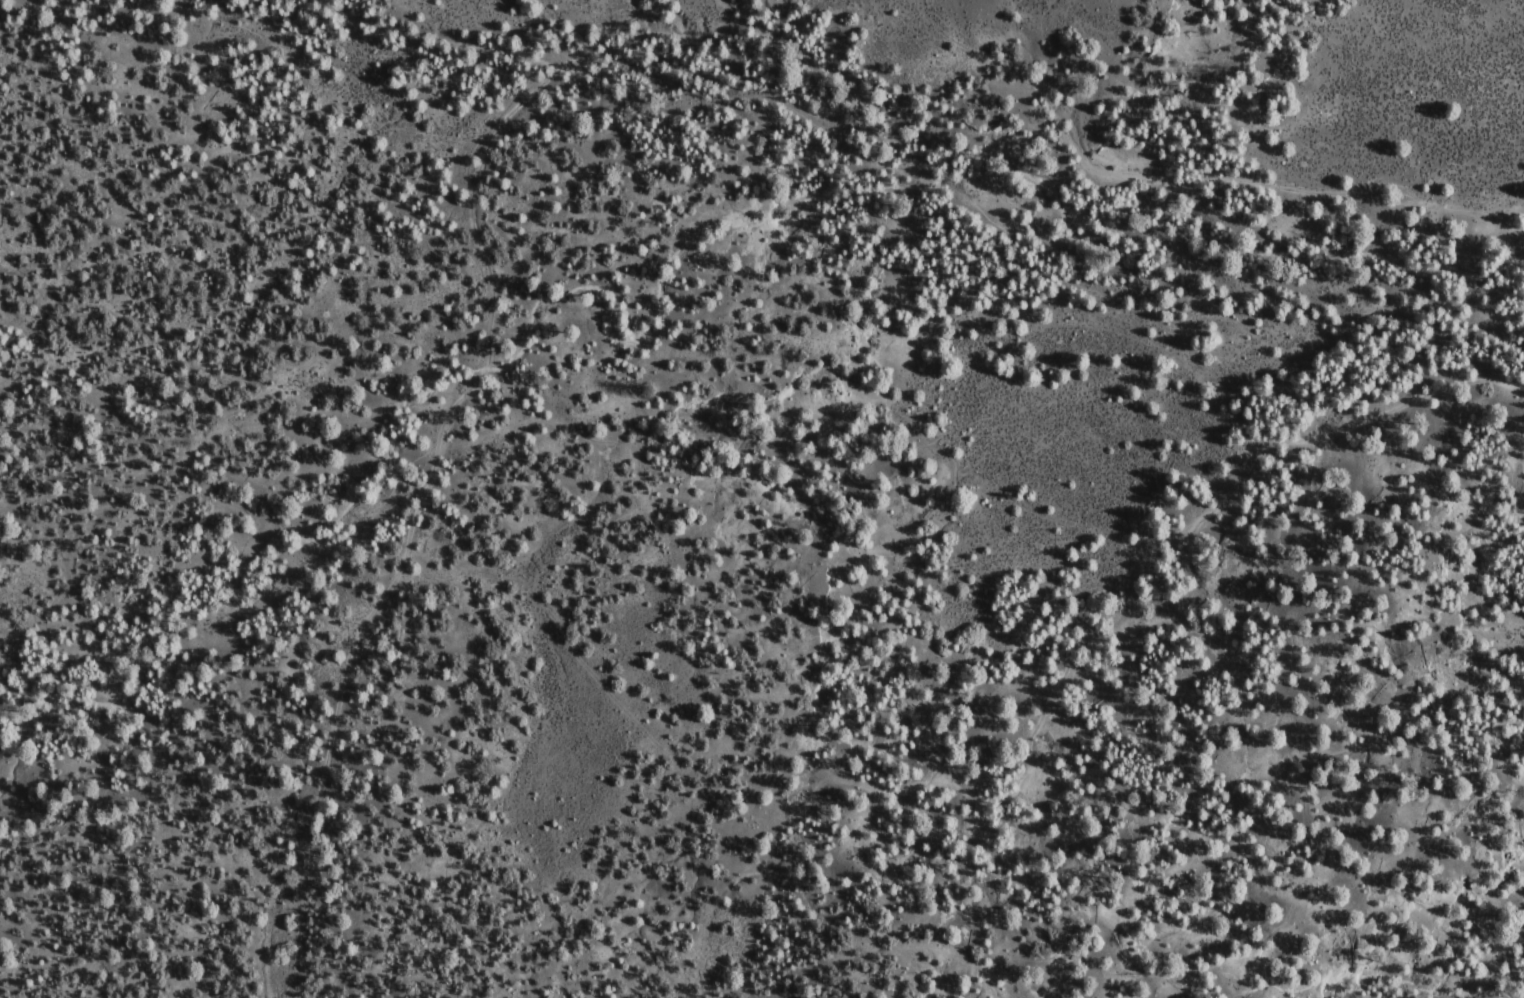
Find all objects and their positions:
road: (363, 467)

